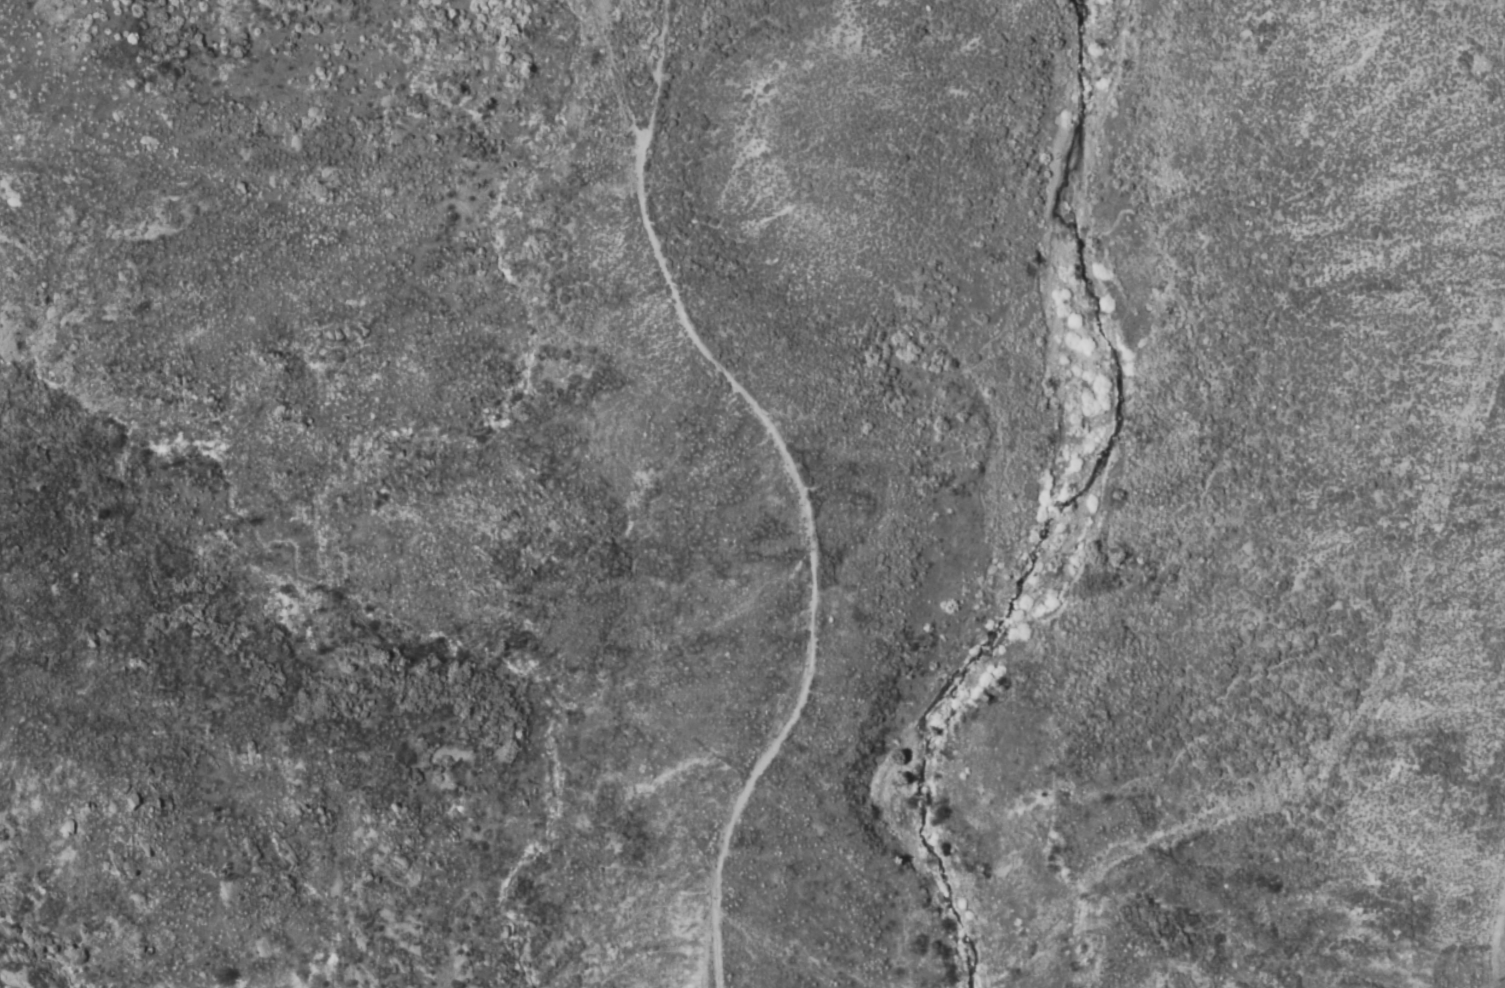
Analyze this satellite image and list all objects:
road: (796, 477)

